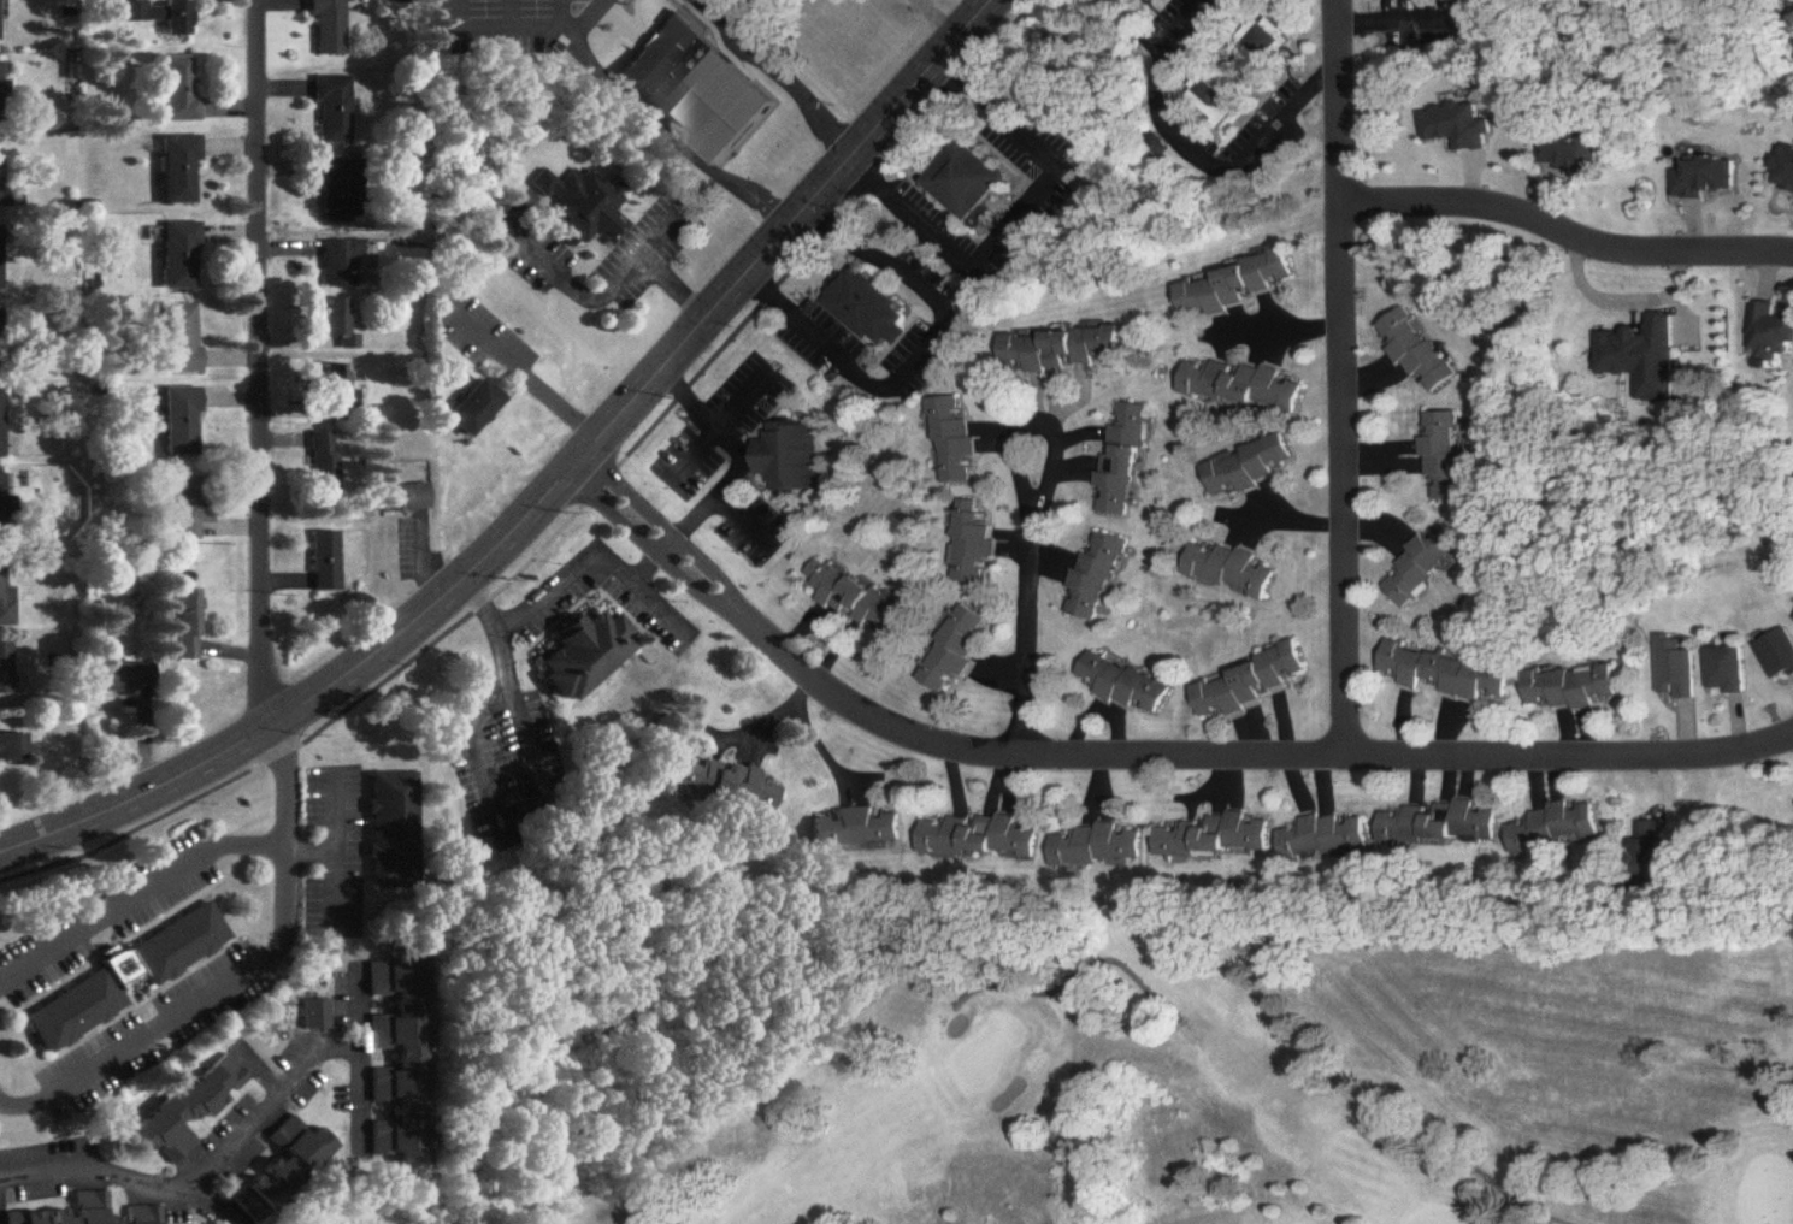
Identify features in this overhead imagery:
building: (0, 0)
building: (1148, 0)
building: (177, 18)
building: (328, 28)
building: (665, 53)
building: (1240, 70)
building: (1, 84)
building: (179, 91)
road: (680, 93)
building: (335, 108)
road: (1196, 152)
building: (1573, 154)
building: (1786, 168)
building: (181, 171)
building: (1709, 178)
building: (2, 181)
building: (969, 183)
building: (342, 191)
building: (584, 206)
road: (1019, 214)
road: (1565, 237)
building: (182, 256)
building: (1, 259)
building: (343, 265)
road: (673, 283)
building: (1238, 285)
road: (1616, 292)
road: (596, 295)
building: (871, 311)
building: (337, 319)
road: (1284, 327)
building: (1770, 333)
building: (0, 335)
building: (182, 338)
building: (1062, 349)
building: (1420, 353)
road: (921, 355)
building: (1642, 357)
road: (258, 363)
road: (520, 369)
road: (1341, 379)
building: (1243, 386)
building: (341, 395)
building: (474, 409)
road: (720, 419)
building: (182, 422)
building: (2, 425)
building: (954, 440)
road: (738, 454)
building: (1445, 457)
building: (788, 459)
building: (324, 462)
building: (1122, 465)
building: (1245, 467)
road: (547, 490)
building: (403, 498)
building: (1, 499)
building: (190, 509)
road: (1280, 518)
building: (972, 545)
building: (326, 561)
building: (1422, 564)
building: (1228, 570)
building: (1093, 579)
road: (560, 581)
road: (1026, 592)
building: (6, 595)
building: (854, 599)
building: (188, 626)
building: (954, 649)
building: (588, 654)
building: (1780, 655)
building: (1677, 668)
building: (6, 670)
building: (1728, 670)
building: (1447, 673)
building: (126, 678)
building: (1122, 684)
building: (1240, 684)
building: (1573, 687)
road: (471, 725)
road: (809, 737)
road: (529, 738)
building: (13, 749)
road: (1132, 761)
building: (726, 785)
road: (334, 815)
building: (1440, 823)
building: (856, 828)
building: (1559, 828)
building: (394, 830)
building: (980, 838)
building: (1215, 838)
building: (1325, 838)
road: (285, 840)
road: (247, 842)
building: (1096, 846)
building: (1645, 857)
road: (335, 864)
road: (104, 913)
building: (179, 945)
building: (73, 1010)
road: (359, 1010)
building: (317, 1015)
road: (144, 1036)
building: (401, 1058)
park: (1125, 1062)
road: (359, 1069)
road: (11, 1107)
building: (190, 1111)
building: (284, 1170)
road: (172, 1183)
building: (89, 1213)

